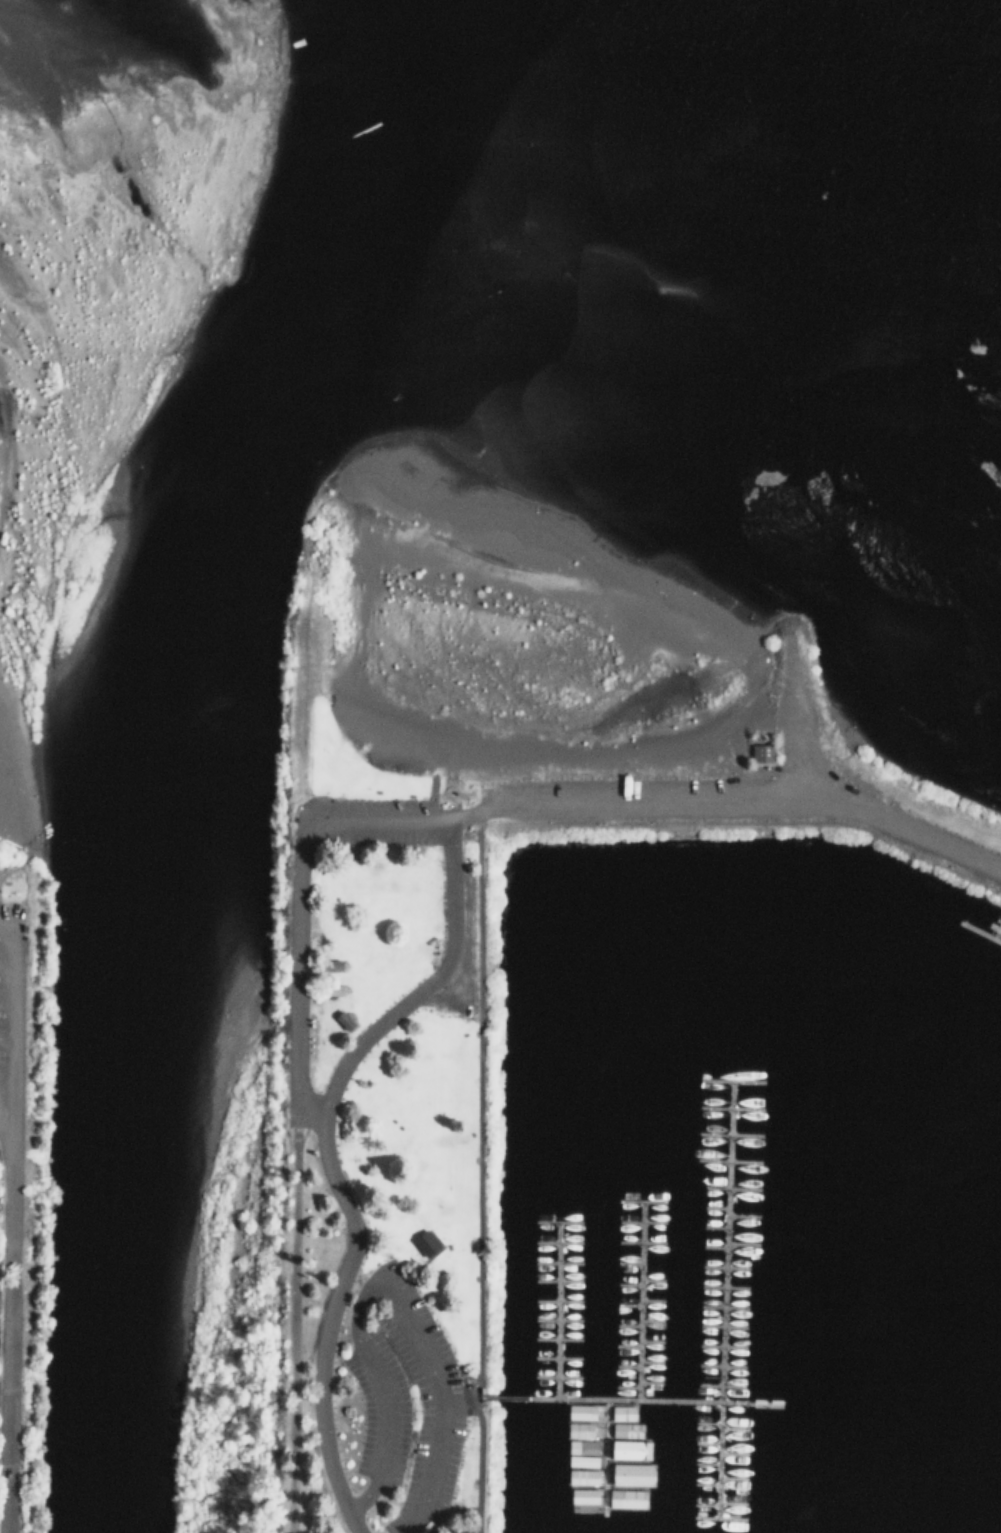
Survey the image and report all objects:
lighthouse: (311, 623)
road: (789, 716)
river: (162, 745)
building: (759, 751)
parking lot: (810, 753)
parking lot: (638, 786)
road: (731, 800)
parking lot: (378, 819)
road: (295, 906)
parking lot: (463, 919)
road: (995, 926)
road: (993, 927)
road: (978, 931)
road: (5, 956)
road: (427, 981)
parking lot: (9, 985)
road: (5, 997)
road: (11, 1022)
road: (6, 1035)
park: (439, 1054)
road: (729, 1080)
road: (728, 1107)
road: (1, 1126)
road: (726, 1133)
road: (725, 1159)
road: (478, 1173)
park: (21, 1175)
road: (729, 1187)
road: (639, 1199)
road: (712, 1206)
road: (740, 1215)
road: (638, 1220)
road: (555, 1221)
road: (712, 1226)
building: (422, 1241)
road: (639, 1241)
road: (555, 1242)
road: (739, 1243)
road: (711, 1247)
road: (555, 1262)
road: (627, 1263)
road: (722, 1266)
road: (555, 1279)
road: (649, 1279)
road: (626, 1283)
road: (721, 1286)
road: (381, 1289)
road: (721, 1299)
road: (555, 1300)
road: (638, 1300)
road: (649, 1300)
road: (626, 1305)
road: (720, 1306)
road: (555, 1310)
road: (289, 1315)
road: (555, 1319)
road: (648, 1320)
road: (325, 1321)
road: (720, 1325)
road: (625, 1326)
road: (7, 1330)
road: (554, 1338)
road: (648, 1341)
road: (718, 1345)
road: (625, 1346)
road: (554, 1358)
road: (648, 1362)
road: (718, 1365)
road: (624, 1366)
road: (554, 1377)
road: (647, 1383)
road: (718, 1385)
road: (624, 1387)
road: (624, 1400)
parking lot: (396, 1401)
building: (579, 1411)
building: (622, 1412)
road: (705, 1423)
road: (731, 1428)
building: (626, 1429)
road: (704, 1443)
building: (629, 1449)
road: (731, 1453)
road: (603, 1455)
road: (704, 1463)
building: (629, 1474)
building: (584, 1476)
road: (730, 1477)
road: (703, 1483)
building: (585, 1495)
building: (625, 1497)
road: (729, 1502)
road: (702, 1504)
road: (716, 1518)
building: (452, 1531)

